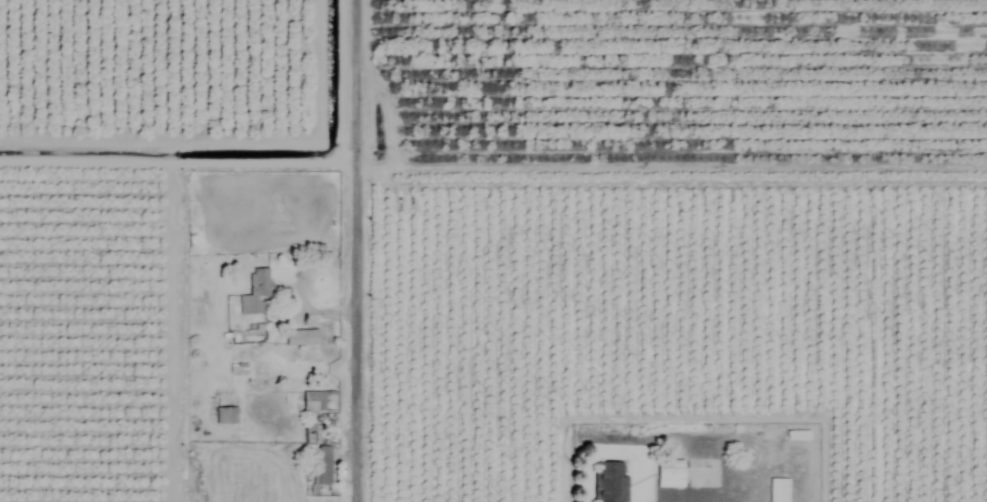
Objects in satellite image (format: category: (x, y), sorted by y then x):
crop: (20, 77)
road: (180, 161)
crop: (652, 247)
road: (359, 251)
building: (256, 294)
building: (302, 338)
building: (316, 401)
building: (226, 416)
building: (798, 436)
building: (323, 466)
building: (610, 482)
building: (779, 490)
road: (740, 491)

